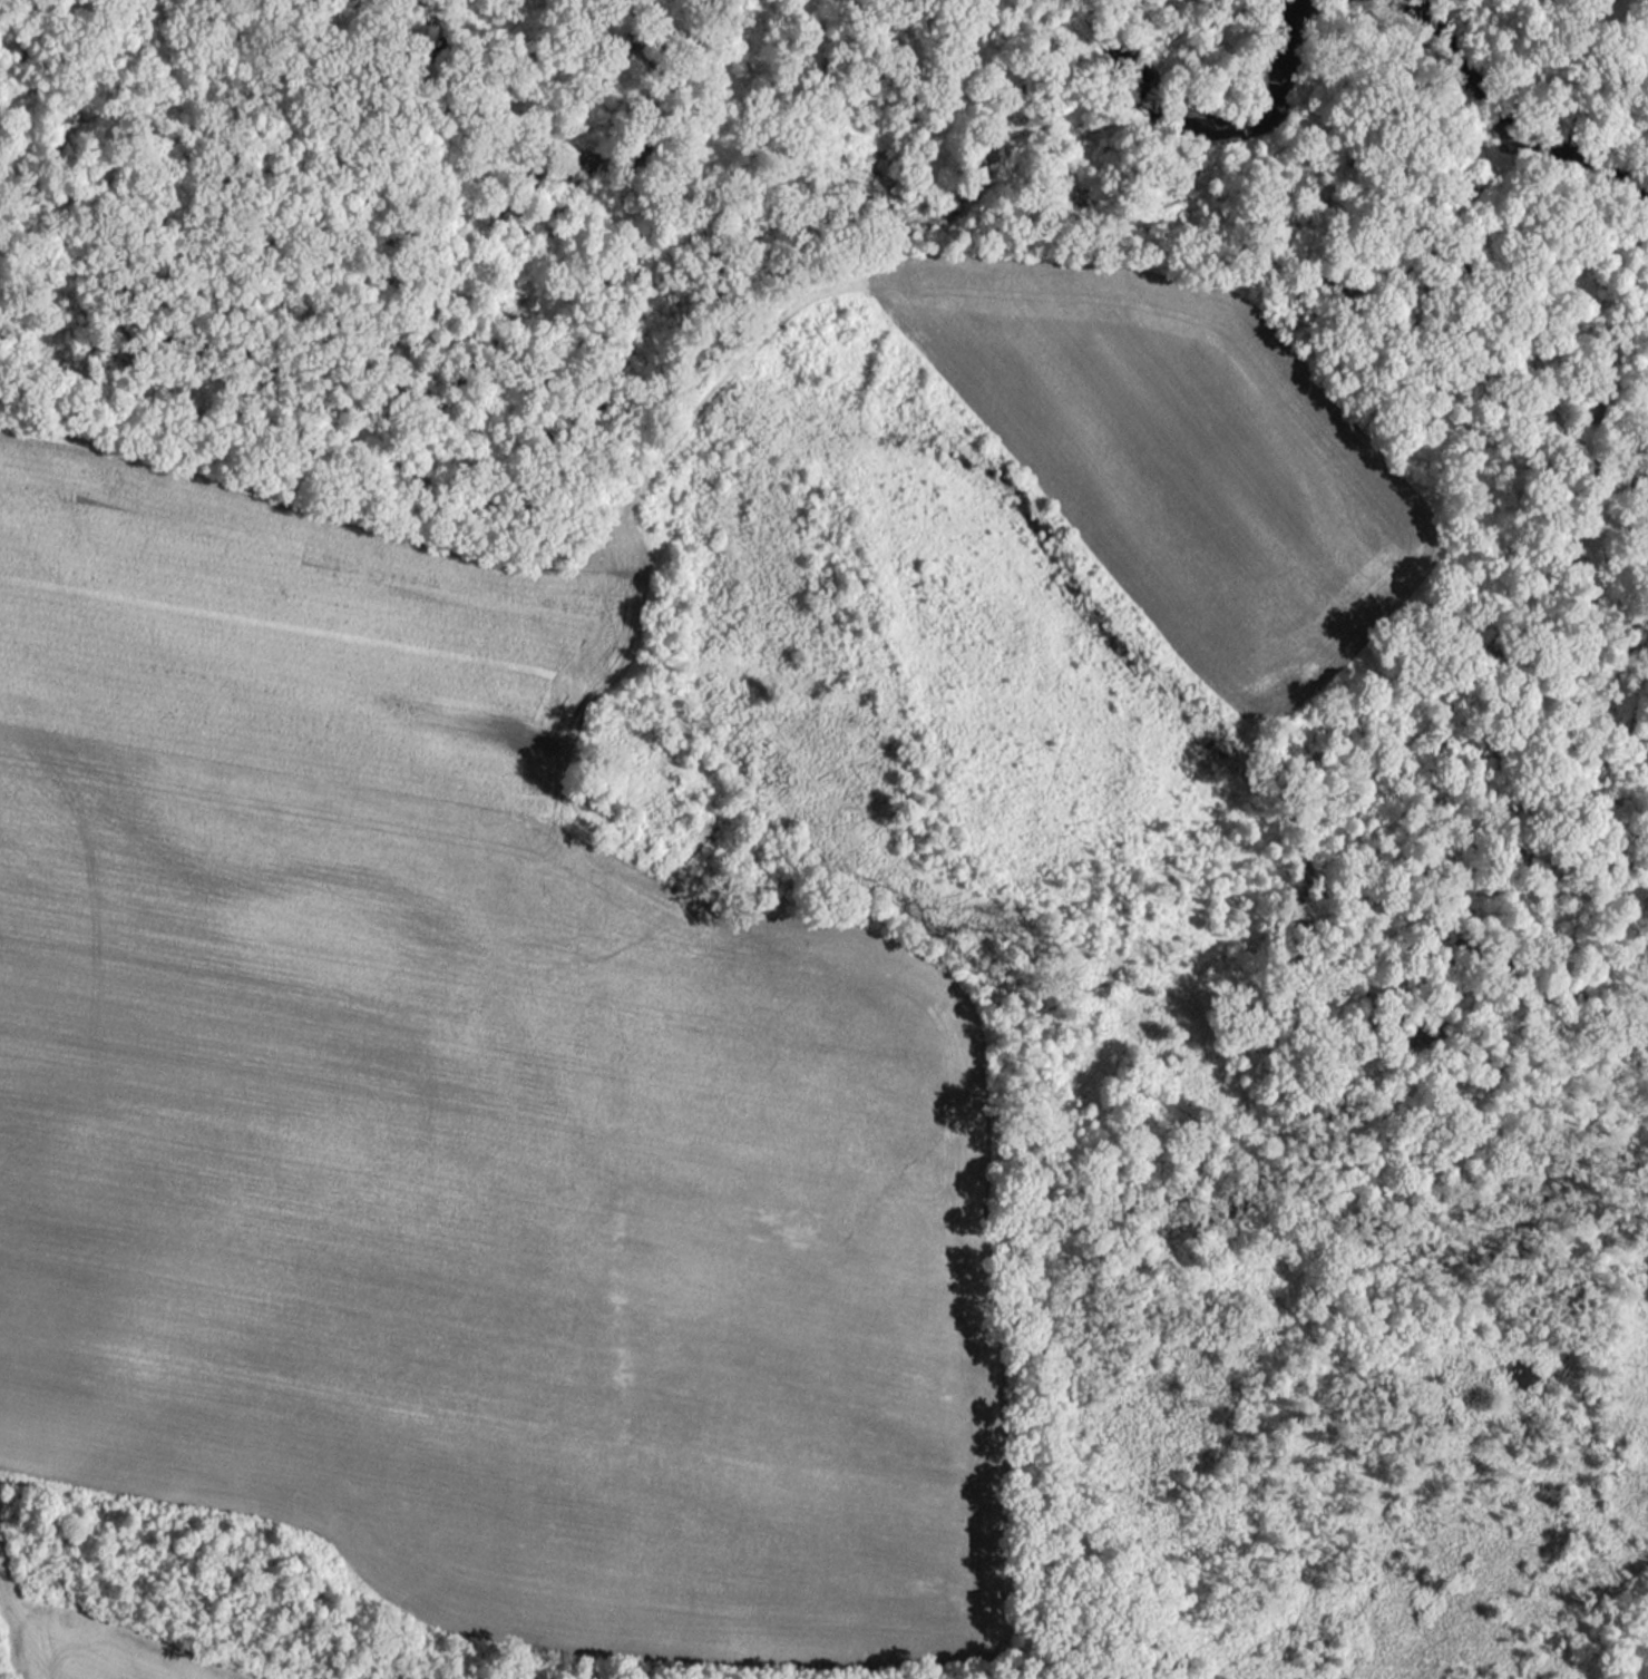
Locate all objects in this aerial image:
river: (1222, 113)
river: (1505, 133)

